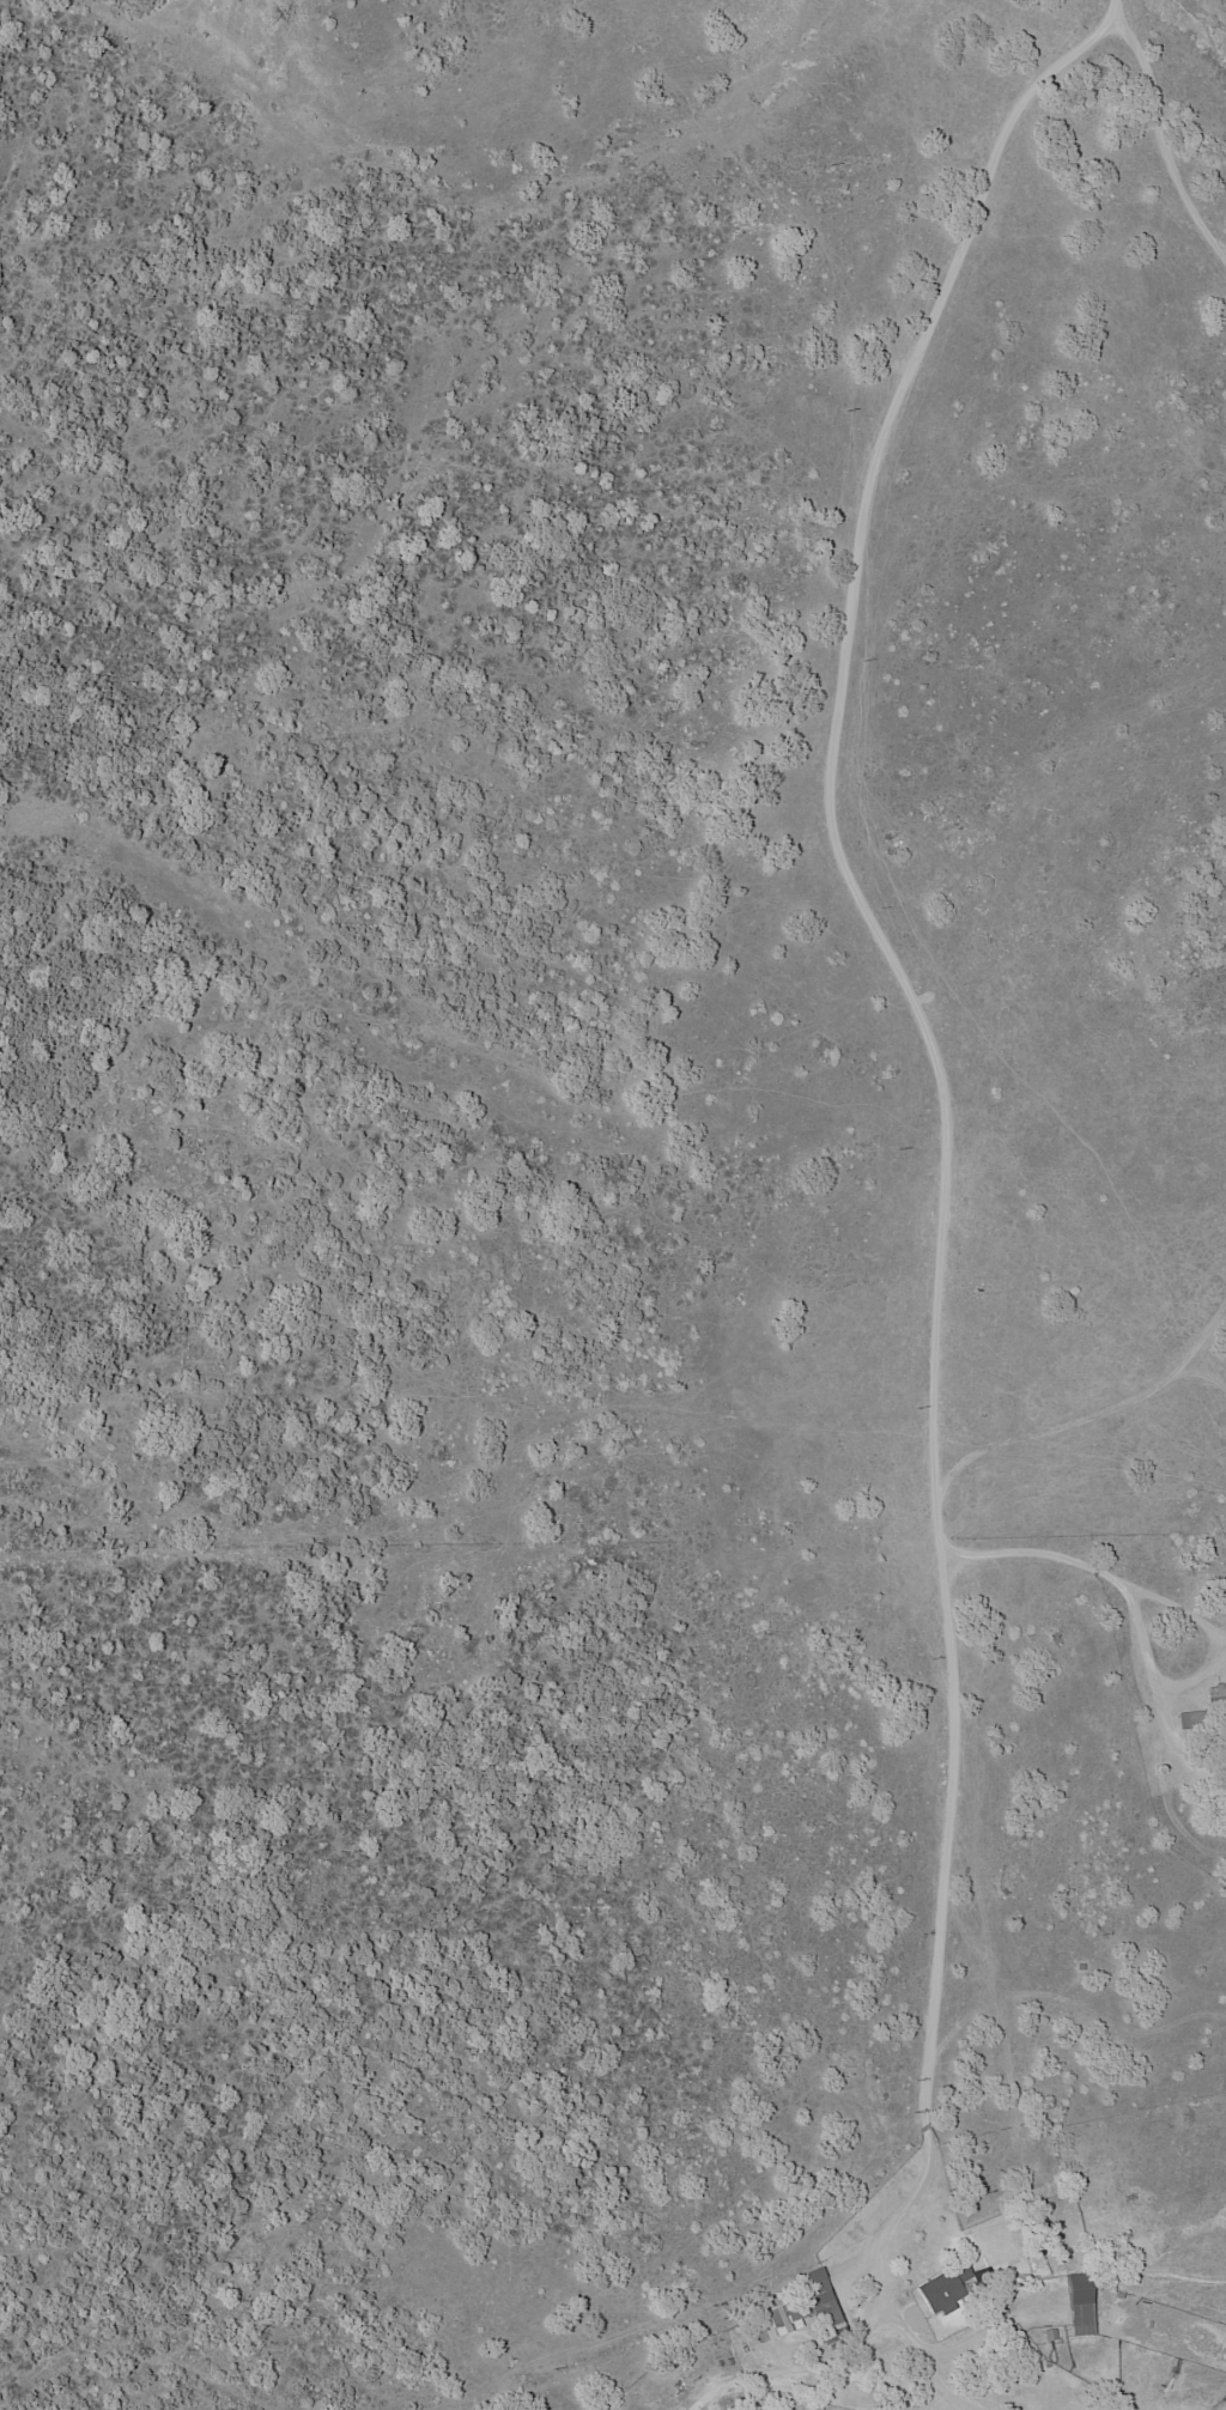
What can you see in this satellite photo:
road: (1161, 144)
road: (936, 1075)
road: (1088, 1566)
building: (1207, 1710)
building: (943, 2289)
building: (1080, 2306)
building: (799, 2308)

